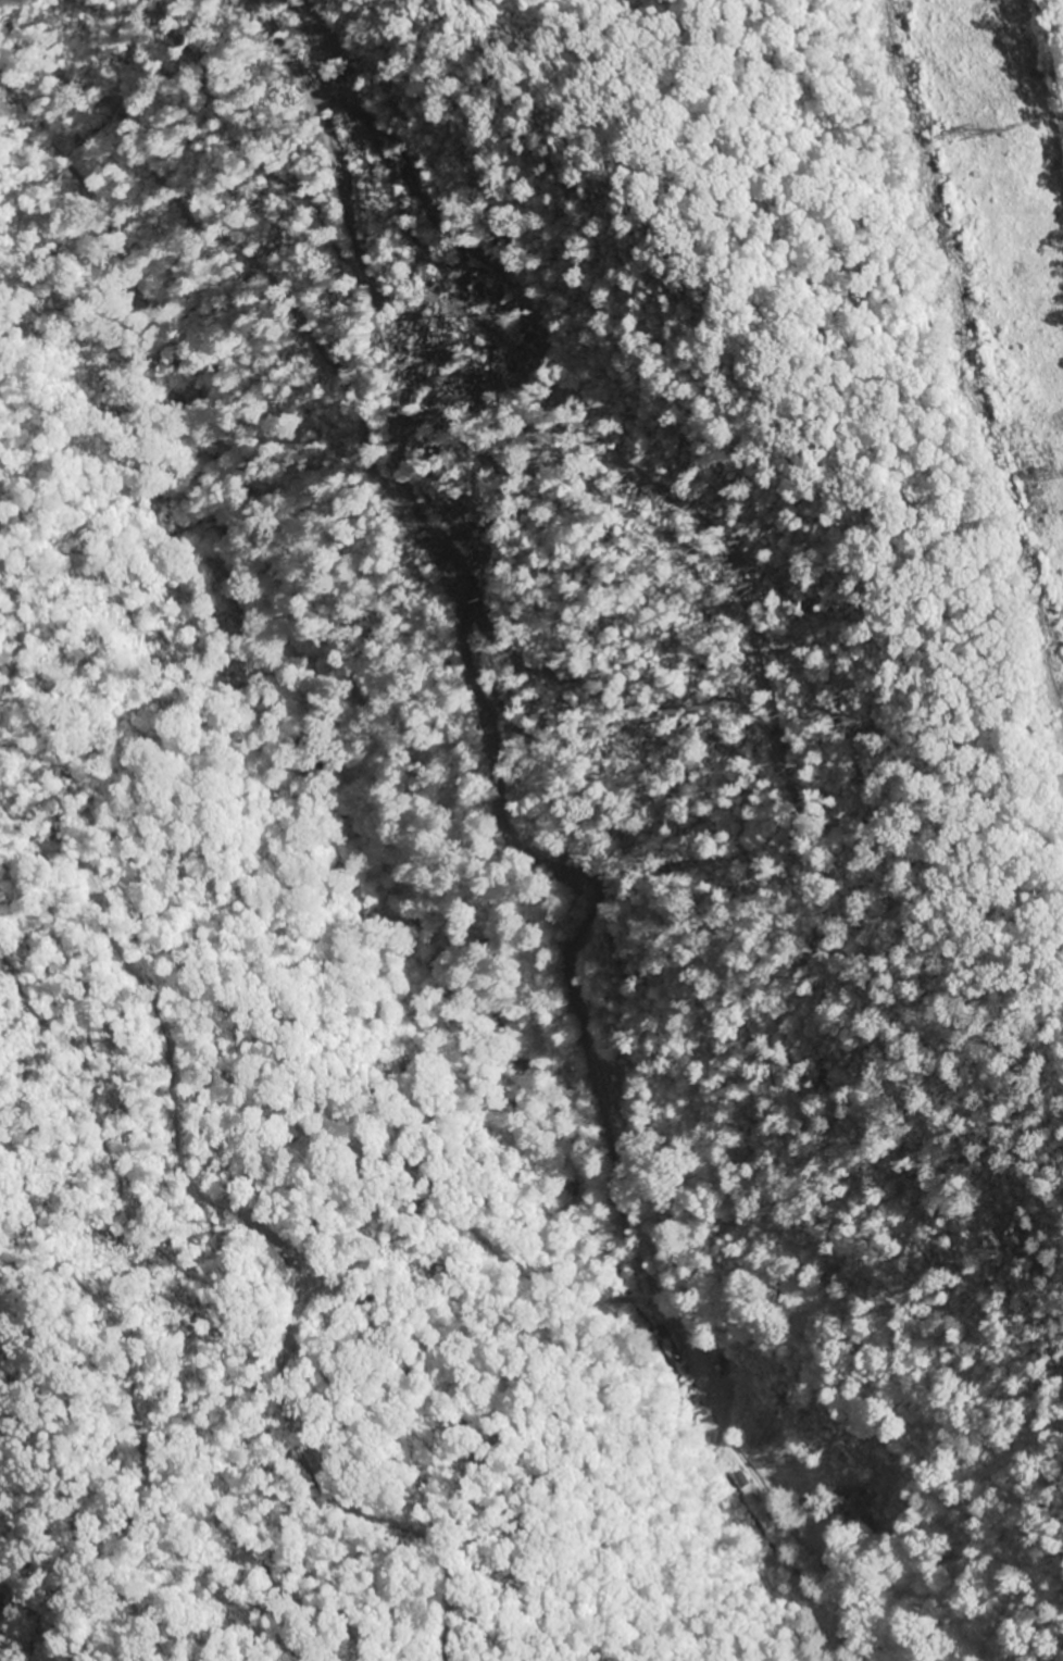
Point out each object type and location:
power tower: (1010, 158)

